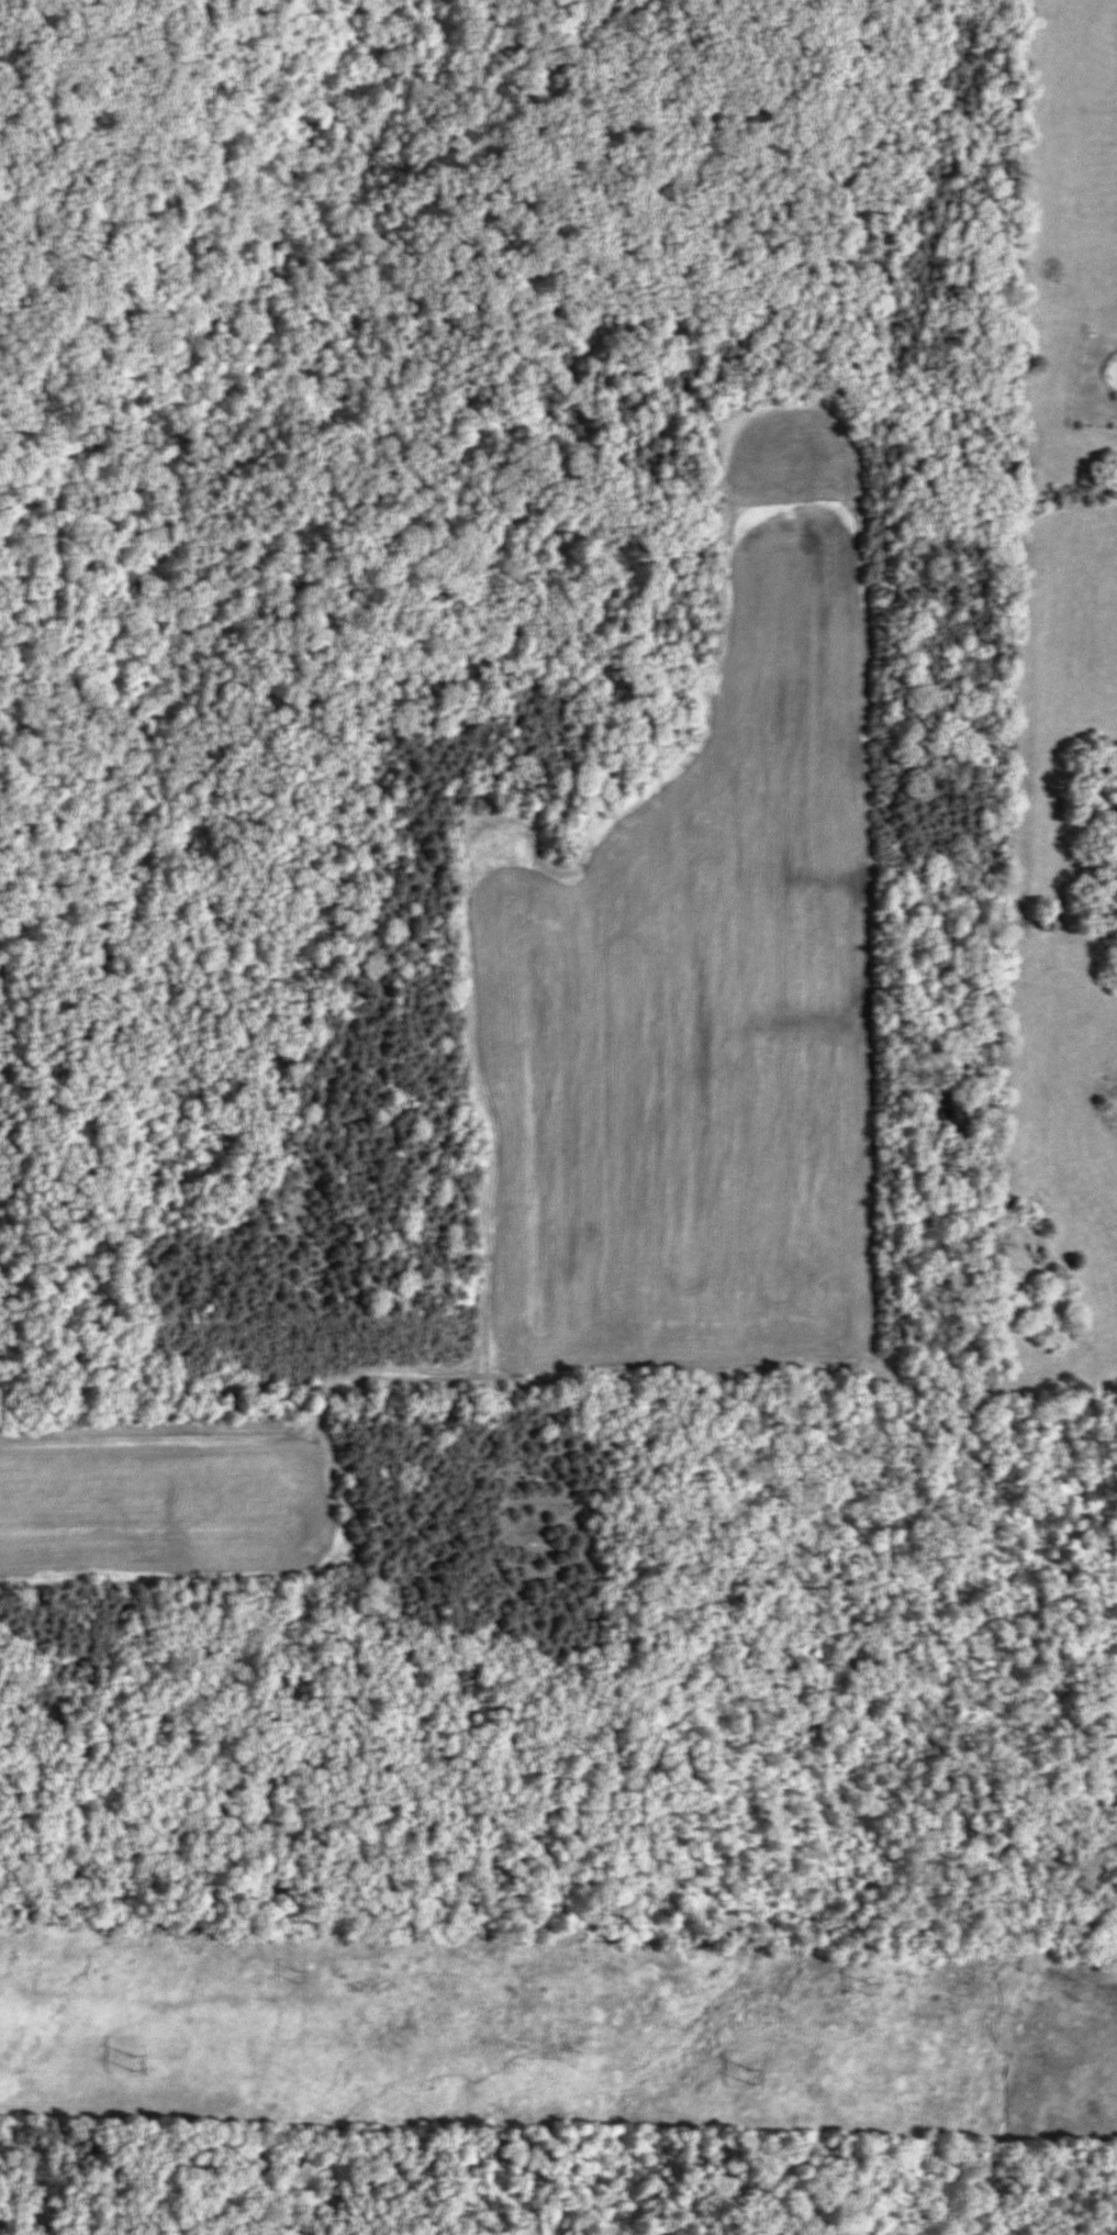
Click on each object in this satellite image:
power tower: (288, 1977)
power tower: (844, 1984)
power tower: (129, 2062)
power tower: (749, 2078)

